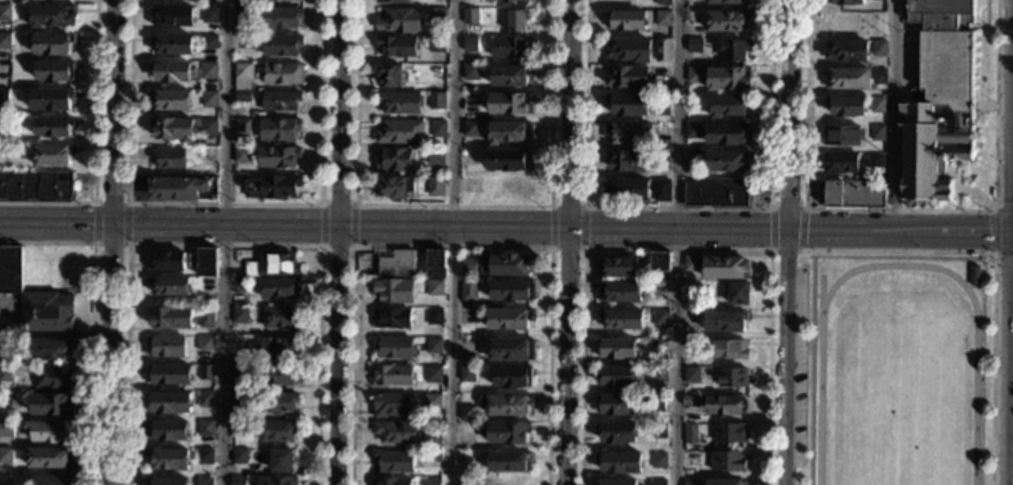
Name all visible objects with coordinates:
building: (36, 0)
building: (55, 0)
building: (155, 0)
building: (302, 0)
building: (696, 0)
building: (881, 0)
building: (283, 1)
building: (506, 1)
building: (391, 2)
building: (663, 2)
building: (726, 2)
building: (846, 2)
building: (5, 12)
building: (51, 16)
building: (172, 16)
building: (209, 16)
building: (242, 16)
building: (439, 16)
building: (470, 16)
building: (281, 18)
building: (664, 19)
building: (517, 21)
building: (626, 21)
building: (727, 21)
building: (401, 22)
building: (4, 41)
building: (209, 43)
building: (50, 44)
building: (172, 44)
building: (438, 44)
building: (281, 45)
building: (470, 45)
building: (694, 46)
building: (397, 47)
building: (510, 47)
building: (879, 48)
building: (663, 50)
building: (734, 50)
building: (630, 51)
building: (847, 51)
road: (980, 51)
building: (54, 71)
building: (207, 71)
building: (242, 71)
building: (170, 72)
building: (437, 72)
building: (470, 73)
building: (282, 74)
building: (510, 75)
building: (694, 75)
building: (389, 76)
building: (627, 77)
building: (878, 77)
building: (728, 79)
building: (848, 79)
road: (1012, 90)
building: (3, 95)
building: (242, 97)
building: (50, 99)
building: (209, 99)
building: (938, 100)
building: (170, 101)
building: (280, 101)
building: (436, 101)
building: (399, 103)
building: (508, 103)
building: (877, 105)
building: (628, 106)
building: (729, 106)
road: (985, 106)
building: (847, 107)
road: (112, 111)
road: (340, 112)
road: (788, 115)
road: (895, 115)
building: (3, 123)
building: (53, 128)
building: (208, 128)
building: (241, 128)
building: (279, 129)
building: (437, 129)
building: (470, 129)
building: (171, 130)
building: (693, 131)
building: (398, 132)
building: (508, 132)
building: (630, 133)
building: (727, 133)
building: (878, 133)
building: (842, 135)
road: (93, 147)
building: (4, 153)
building: (207, 154)
building: (53, 155)
building: (241, 155)
building: (278, 157)
building: (435, 157)
building: (661, 158)
building: (168, 159)
building: (692, 159)
building: (393, 160)
building: (508, 161)
building: (628, 161)
building: (876, 161)
building: (728, 162)
building: (840, 163)
road: (1011, 183)
road: (957, 184)
building: (37, 186)
building: (272, 186)
building: (435, 187)
building: (182, 188)
building: (394, 188)
building: (626, 190)
building: (661, 190)
building: (718, 192)
building: (992, 193)
building: (855, 194)
road: (978, 196)
road: (110, 202)
road: (224, 203)
road: (337, 203)
traffic signals: (1011, 203)
road: (452, 205)
road: (567, 205)
road: (679, 209)
road: (787, 210)
road: (899, 211)
road: (56, 221)
road: (92, 223)
road: (127, 223)
road: (320, 224)
road: (225, 225)
road: (353, 225)
road: (550, 226)
road: (585, 227)
road: (674, 229)
road: (770, 230)
road: (804, 230)
road: (994, 231)
traffic signals: (989, 234)
road: (1012, 234)
road: (227, 242)
road: (451, 242)
road: (569, 242)
road: (676, 242)
road: (223, 244)
road: (110, 246)
road: (452, 246)
road: (336, 247)
road: (568, 248)
road: (676, 249)
road: (787, 251)
building: (973, 255)
building: (70, 258)
building: (166, 260)
building: (193, 260)
building: (206, 262)
building: (692, 262)
building: (397, 264)
building: (435, 264)
building: (484, 264)
building: (272, 265)
building: (509, 265)
building: (468, 266)
building: (660, 266)
building: (619, 267)
building: (22, 268)
building: (725, 268)
road: (992, 274)
building: (974, 276)
building: (240, 283)
building: (169, 285)
building: (207, 285)
building: (279, 287)
building: (435, 288)
building: (469, 290)
building: (511, 290)
building: (660, 290)
building: (394, 291)
building: (620, 292)
track: (822, 293)
building: (738, 294)
track: (972, 300)
building: (46, 312)
building: (239, 315)
building: (434, 316)
building: (469, 316)
building: (170, 317)
building: (206, 317)
building: (282, 318)
building: (392, 318)
building: (622, 318)
building: (661, 318)
road: (91, 319)
building: (509, 319)
building: (691, 321)
building: (725, 322)
road: (55, 335)
building: (205, 343)
building: (434, 346)
building: (165, 347)
building: (278, 347)
building: (394, 347)
building: (659, 348)
building: (6, 349)
building: (511, 349)
building: (618, 349)
building: (729, 349)
building: (51, 350)
road: (110, 353)
road: (337, 355)
road: (787, 358)
road: (1009, 359)
road: (811, 368)
building: (239, 371)
building: (205, 372)
building: (5, 374)
building: (169, 374)
building: (278, 374)
building: (433, 374)
building: (467, 374)
parking lot: (800, 374)
building: (392, 376)
building: (692, 376)
building: (512, 377)
building: (618, 377)
building: (733, 377)
building: (52, 378)
track: (820, 397)
building: (205, 400)
building: (432, 401)
building: (689, 401)
park: (900, 402)
building: (168, 403)
building: (239, 403)
building: (277, 403)
building: (51, 404)
building: (617, 404)
building: (657, 404)
building: (391, 405)
building: (506, 405)
building: (724, 405)
building: (467, 413)
building: (205, 428)
building: (238, 428)
building: (6, 430)
building: (49, 431)
building: (167, 431)
building: (277, 431)
building: (659, 431)
building: (395, 432)
building: (506, 432)
building: (617, 433)
building: (690, 433)
building: (730, 433)
building: (431, 441)
building: (6, 455)
building: (204, 456)
building: (432, 456)
building: (239, 457)
building: (50, 458)
building: (169, 459)
building: (691, 459)
building: (727, 460)
building: (281, 461)
building: (394, 461)
building: (508, 461)
building: (659, 461)
building: (620, 463)
building: (51, 480)
building: (167, 481)
building: (204, 481)
building: (238, 481)
building: (277, 481)
building: (390, 481)
building: (432, 482)
building: (505, 482)
building: (616, 482)
building: (658, 482)
building: (726, 482)
building: (689, 483)

